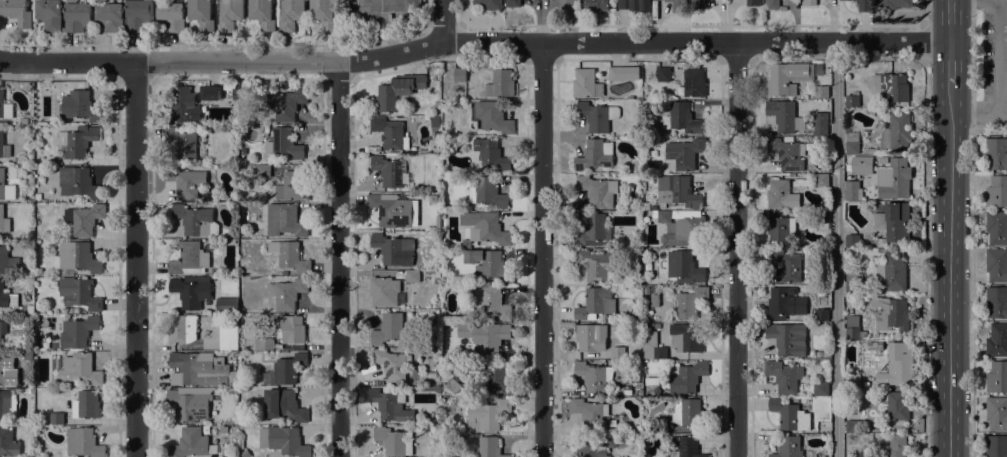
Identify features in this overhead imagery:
building: (839, 0)
building: (754, 2)
building: (809, 2)
building: (513, 3)
building: (568, 3)
building: (488, 4)
building: (698, 4)
building: (772, 4)
building: (894, 4)
building: (594, 5)
building: (635, 5)
building: (678, 5)
building: (865, 5)
building: (16, 12)
building: (202, 13)
building: (324, 13)
road: (923, 13)
building: (50, 14)
building: (231, 14)
building: (263, 14)
building: (292, 14)
building: (138, 15)
building: (171, 15)
building: (77, 16)
building: (110, 16)
road: (443, 21)
road: (949, 21)
road: (924, 41)
road: (540, 42)
road: (880, 58)
park: (990, 60)
road: (67, 62)
road: (949, 62)
building: (623, 72)
building: (459, 74)
building: (664, 74)
building: (788, 78)
road: (1000, 78)
building: (695, 82)
building: (501, 83)
building: (586, 83)
building: (27, 85)
building: (890, 87)
building: (398, 91)
building: (821, 91)
building: (213, 93)
building: (853, 100)
building: (288, 104)
building: (437, 104)
building: (184, 105)
building: (79, 106)
building: (5, 108)
building: (436, 112)
building: (785, 115)
building: (598, 116)
building: (494, 117)
building: (682, 118)
building: (24, 121)
building: (435, 122)
building: (820, 123)
building: (37, 129)
building: (390, 132)
building: (898, 133)
building: (77, 141)
building: (183, 142)
building: (284, 143)
building: (852, 143)
building: (821, 144)
building: (3, 145)
building: (871, 150)
building: (997, 152)
building: (685, 153)
building: (788, 153)
building: (491, 155)
building: (595, 155)
building: (243, 161)
building: (861, 164)
building: (263, 170)
building: (390, 171)
building: (821, 179)
building: (894, 179)
building: (186, 181)
building: (78, 183)
building: (8, 184)
building: (290, 186)
building: (852, 190)
building: (598, 191)
building: (487, 192)
building: (677, 192)
building: (997, 192)
building: (780, 194)
building: (38, 196)
building: (653, 207)
building: (391, 210)
building: (691, 210)
building: (84, 219)
building: (196, 220)
building: (285, 220)
building: (822, 220)
building: (4, 221)
building: (893, 222)
road: (972, 228)
building: (997, 228)
building: (484, 229)
building: (781, 229)
building: (593, 230)
building: (682, 230)
building: (245, 234)
building: (853, 240)
building: (390, 247)
road: (542, 249)
road: (736, 249)
road: (836, 249)
building: (880, 250)
building: (290, 255)
road: (924, 257)
building: (76, 258)
building: (189, 259)
road: (337, 259)
road: (134, 260)
building: (8, 262)
building: (787, 264)
building: (996, 264)
building: (489, 265)
building: (600, 265)
building: (684, 267)
road: (949, 270)
building: (892, 271)
building: (437, 274)
building: (414, 275)
building: (429, 278)
building: (232, 282)
building: (854, 283)
building: (646, 290)
building: (655, 290)
building: (191, 291)
building: (385, 291)
building: (79, 293)
building: (287, 293)
building: (7, 297)
building: (655, 300)
building: (39, 301)
building: (997, 301)
building: (492, 302)
building: (691, 302)
building: (785, 302)
building: (595, 304)
building: (227, 305)
building: (30, 309)
building: (39, 309)
building: (76, 310)
building: (891, 314)
building: (822, 315)
building: (636, 316)
building: (657, 325)
building: (854, 328)
building: (3, 329)
building: (182, 329)
building: (290, 329)
building: (389, 329)
building: (77, 332)
building: (229, 337)
building: (687, 337)
building: (592, 338)
building: (787, 338)
building: (491, 339)
building: (997, 340)
building: (264, 344)
building: (652, 346)
building: (618, 353)
building: (818, 354)
building: (826, 354)
building: (28, 355)
building: (430, 361)
building: (392, 363)
building: (898, 364)
building: (80, 367)
building: (5, 368)
building: (286, 369)
building: (196, 370)
building: (785, 375)
building: (686, 377)
building: (483, 378)
building: (997, 378)
building: (598, 379)
building: (853, 380)
building: (652, 381)
building: (432, 389)
building: (821, 389)
building: (190, 403)
building: (85, 404)
building: (7, 405)
building: (284, 405)
building: (390, 405)
building: (898, 405)
building: (688, 412)
building: (589, 413)
building: (996, 413)
building: (487, 414)
building: (790, 415)
building: (57, 418)
building: (635, 424)
building: (852, 426)
building: (660, 427)
building: (648, 430)
building: (283, 440)
building: (394, 441)
building: (8, 443)
building: (83, 443)
building: (189, 443)
building: (594, 446)
building: (687, 446)
building: (897, 446)
building: (996, 446)
building: (490, 447)
building: (788, 447)

